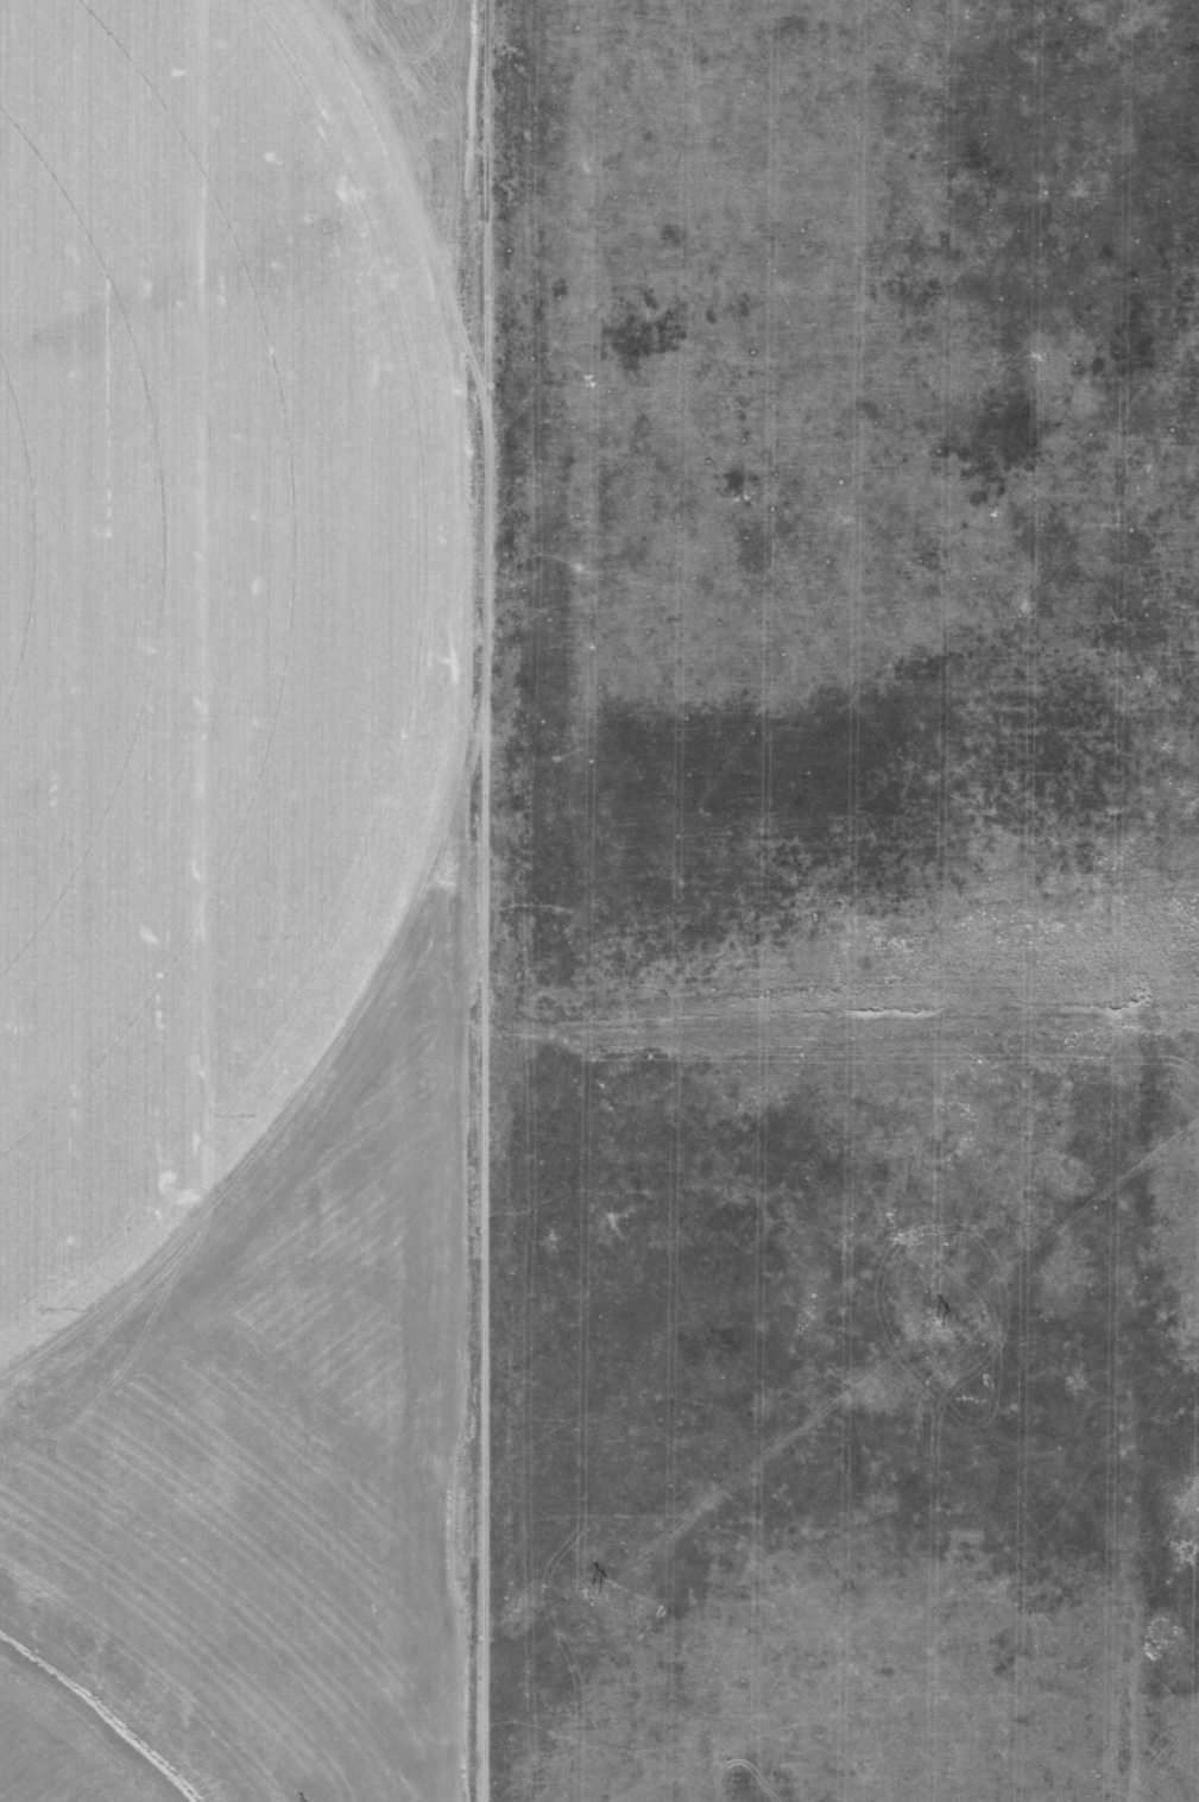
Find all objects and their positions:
power tower: (936, 1321)
power tower: (592, 1592)

